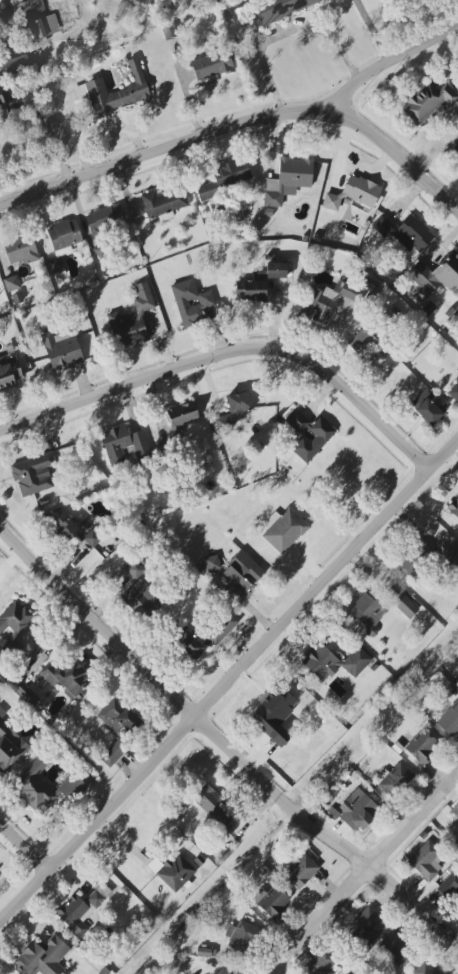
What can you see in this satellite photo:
building: (280, 9)
building: (38, 19)
road: (283, 29)
road: (374, 33)
building: (14, 62)
building: (211, 65)
building: (114, 92)
building: (4, 101)
building: (427, 101)
road: (233, 128)
road: (51, 143)
building: (455, 149)
road: (398, 156)
building: (224, 179)
building: (287, 180)
building: (353, 193)
building: (162, 204)
building: (104, 219)
building: (405, 232)
building: (61, 243)
building: (20, 250)
building: (275, 270)
building: (436, 275)
building: (11, 283)
building: (251, 291)
building: (190, 302)
building: (323, 303)
building: (457, 313)
building: (132, 320)
building: (366, 340)
building: (61, 348)
road: (231, 354)
building: (9, 372)
building: (453, 391)
building: (427, 408)
building: (234, 410)
building: (182, 414)
building: (308, 435)
building: (123, 444)
building: (33, 474)
building: (453, 507)
building: (64, 527)
building: (283, 530)
building: (92, 538)
building: (450, 556)
building: (413, 560)
building: (134, 570)
building: (243, 571)
building: (141, 599)
building: (405, 606)
building: (366, 613)
building: (14, 618)
building: (221, 627)
building: (188, 644)
building: (333, 662)
building: (67, 678)
building: (457, 679)
road: (229, 685)
building: (24, 692)
building: (448, 718)
building: (117, 719)
road: (222, 742)
building: (9, 745)
building: (421, 746)
building: (111, 755)
building: (394, 778)
building: (34, 786)
building: (71, 788)
building: (214, 806)
building: (357, 810)
building: (455, 813)
road: (24, 847)
building: (426, 861)
building: (300, 871)
road: (365, 871)
building: (175, 872)
building: (451, 886)
building: (271, 901)
building: (82, 910)
building: (369, 924)
building: (240, 935)
building: (396, 950)
building: (42, 957)
building: (322, 963)
building: (424, 968)

